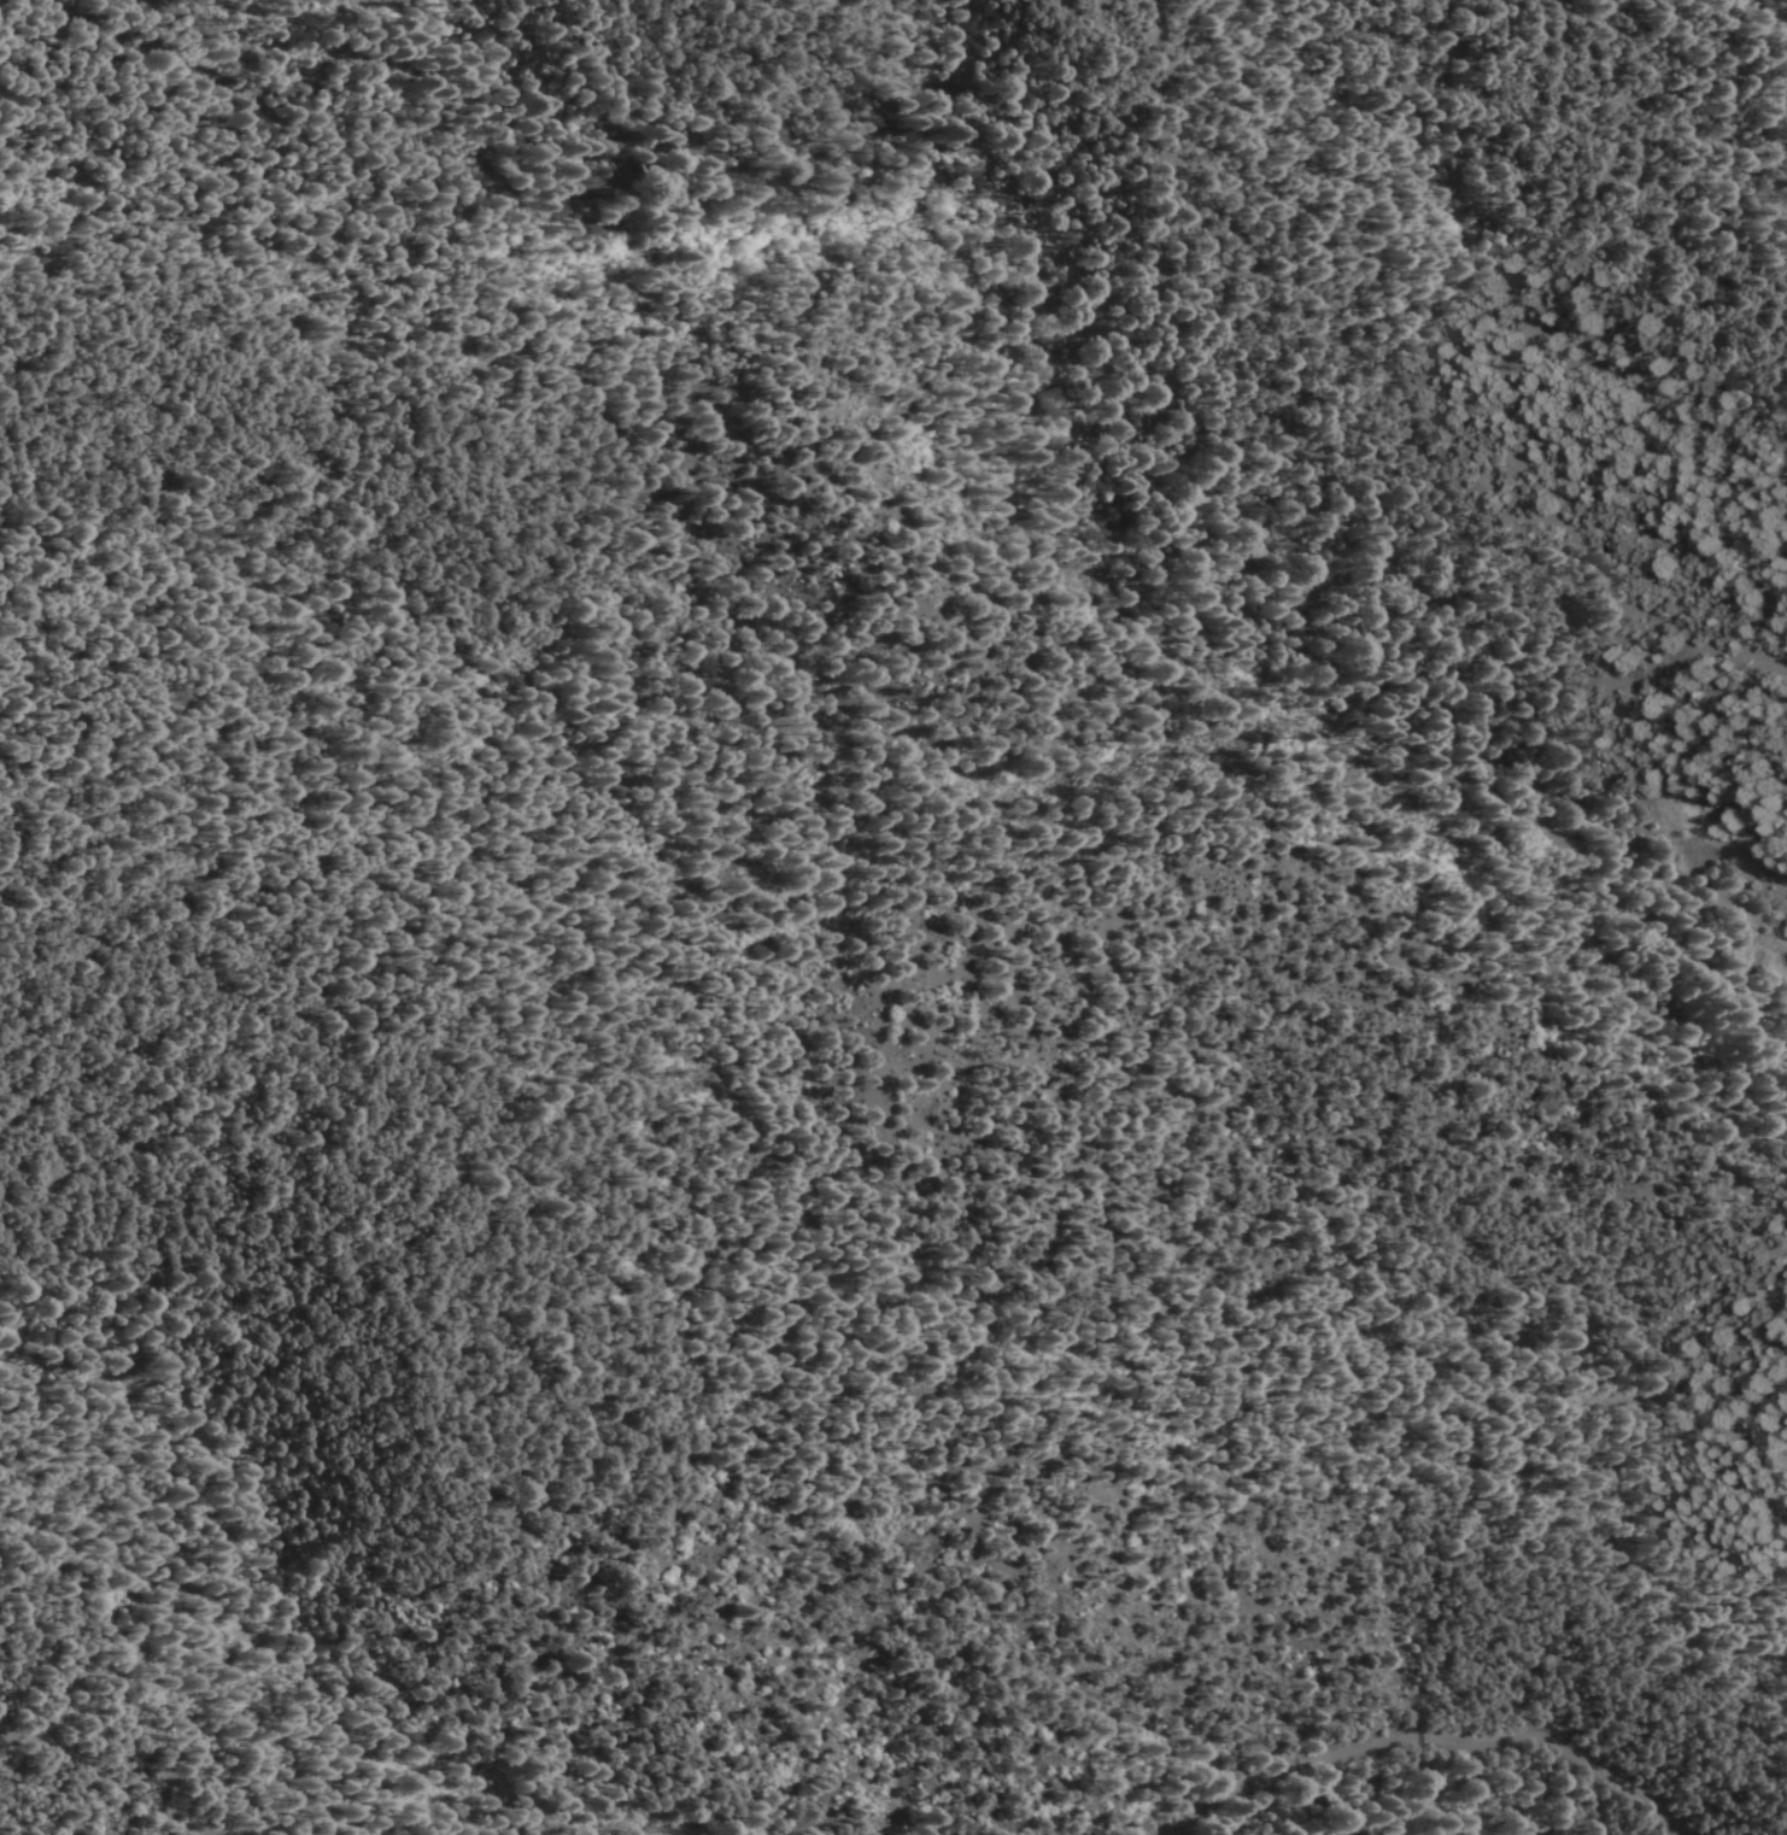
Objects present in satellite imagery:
road: (623, 1)
road: (695, 65)
road: (1378, 373)
road: (537, 766)
road: (1558, 1003)
road: (322, 1438)
road: (206, 1561)
road: (1429, 1734)

